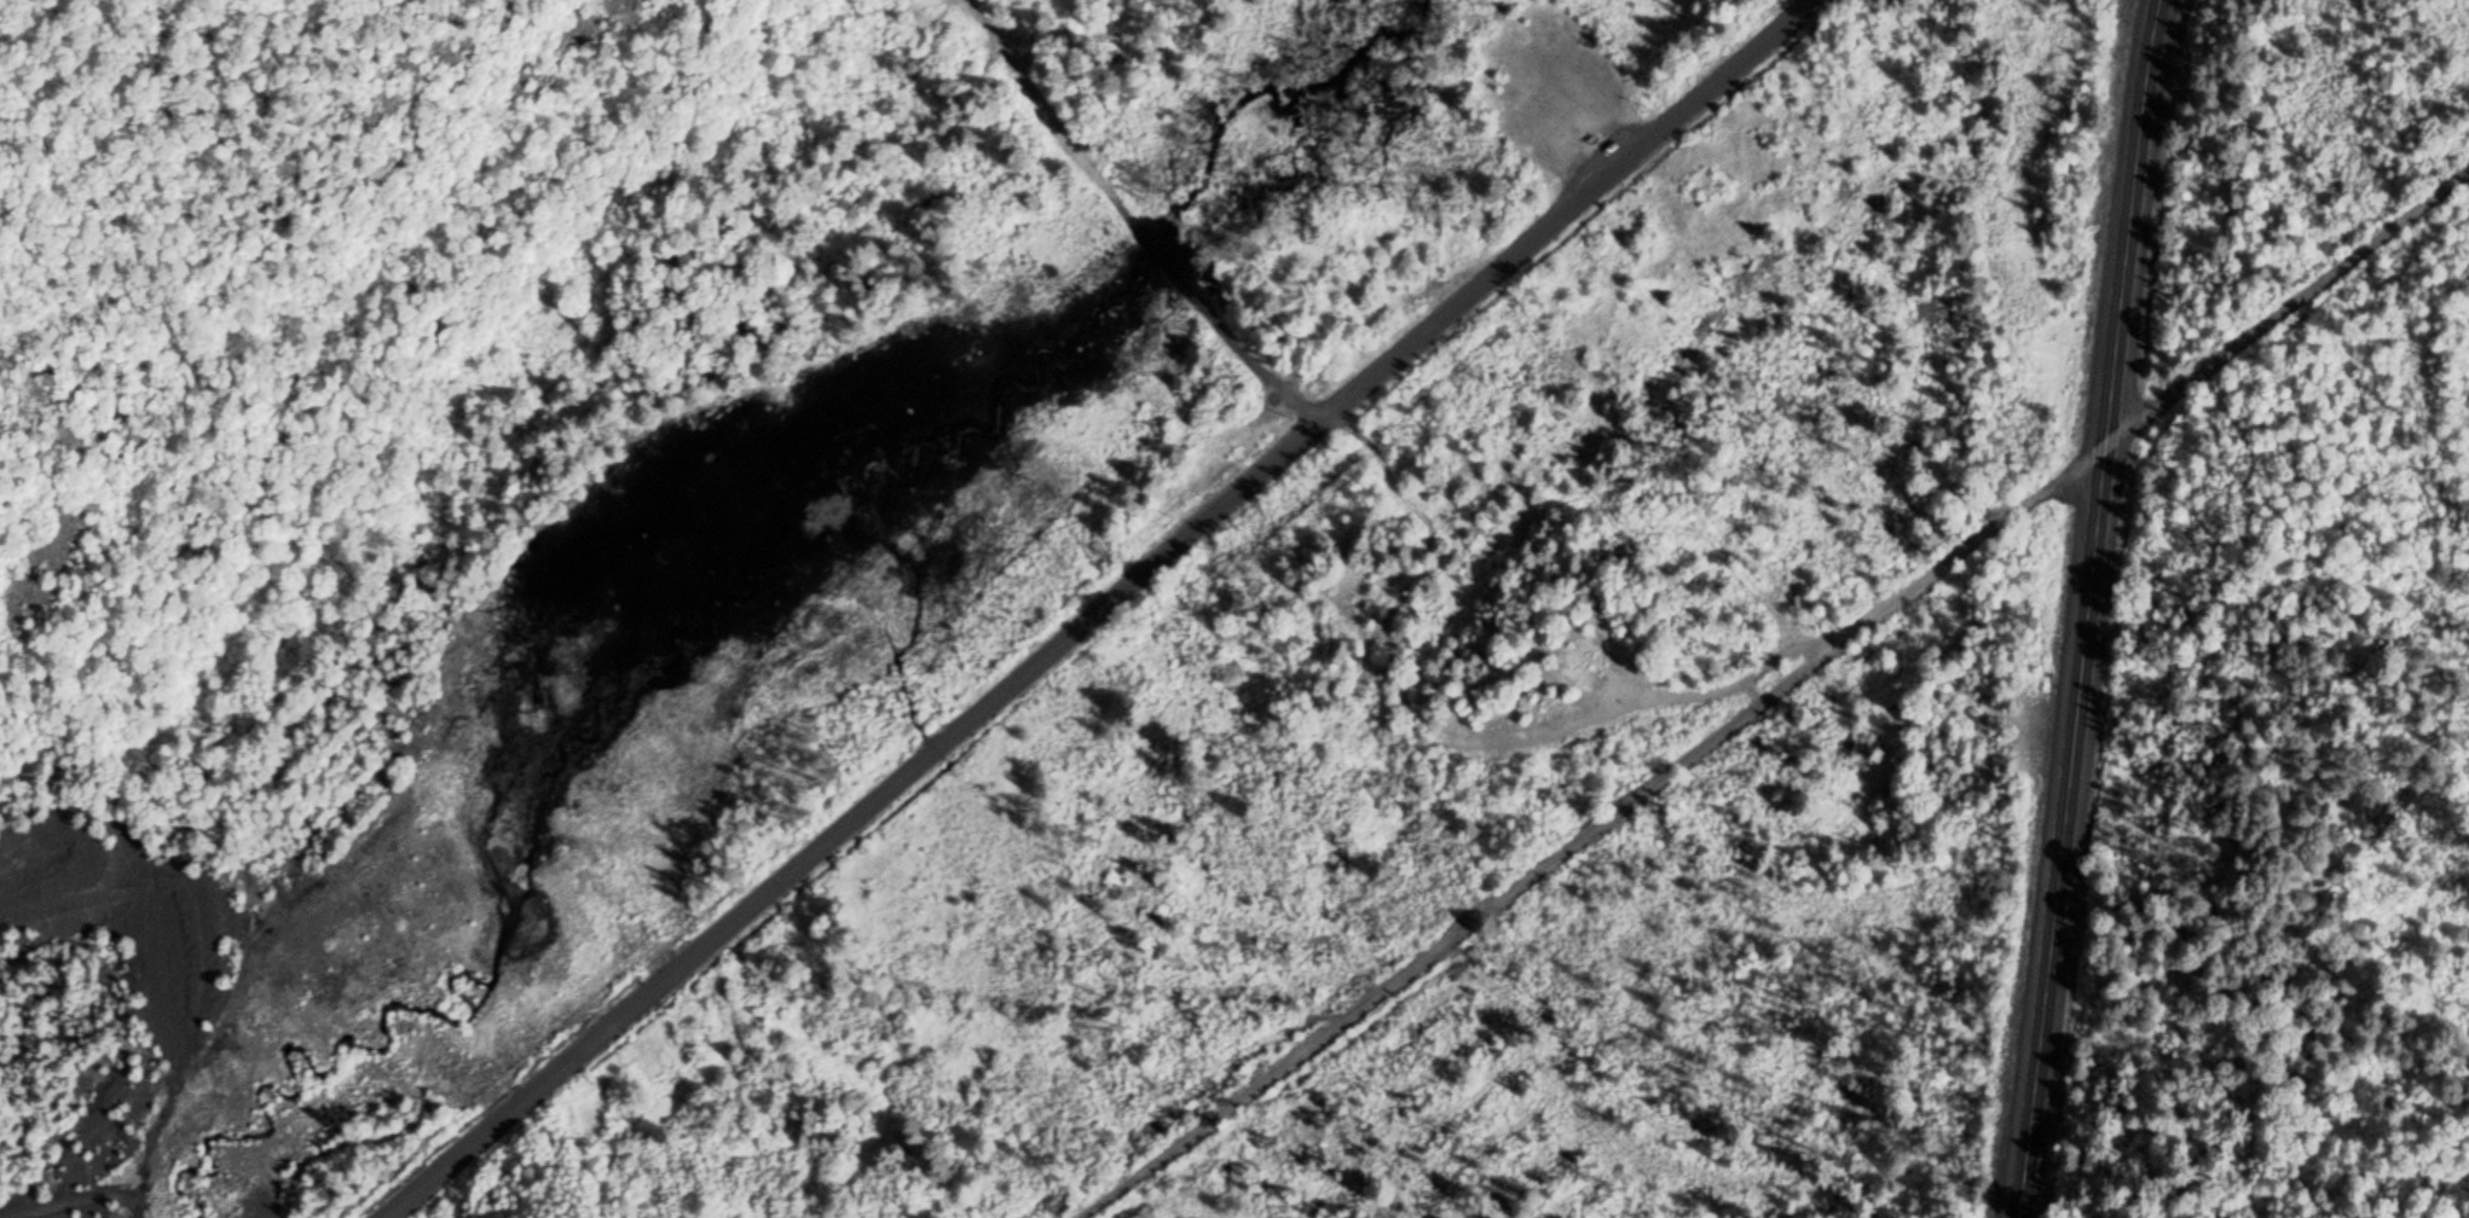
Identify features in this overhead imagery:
park: (2123, 2)
road: (734, 98)
road: (1056, 118)
road: (1156, 256)
park: (709, 265)
road: (1242, 349)
river: (756, 512)
road: (2085, 609)
road: (1095, 610)
road: (1767, 689)

